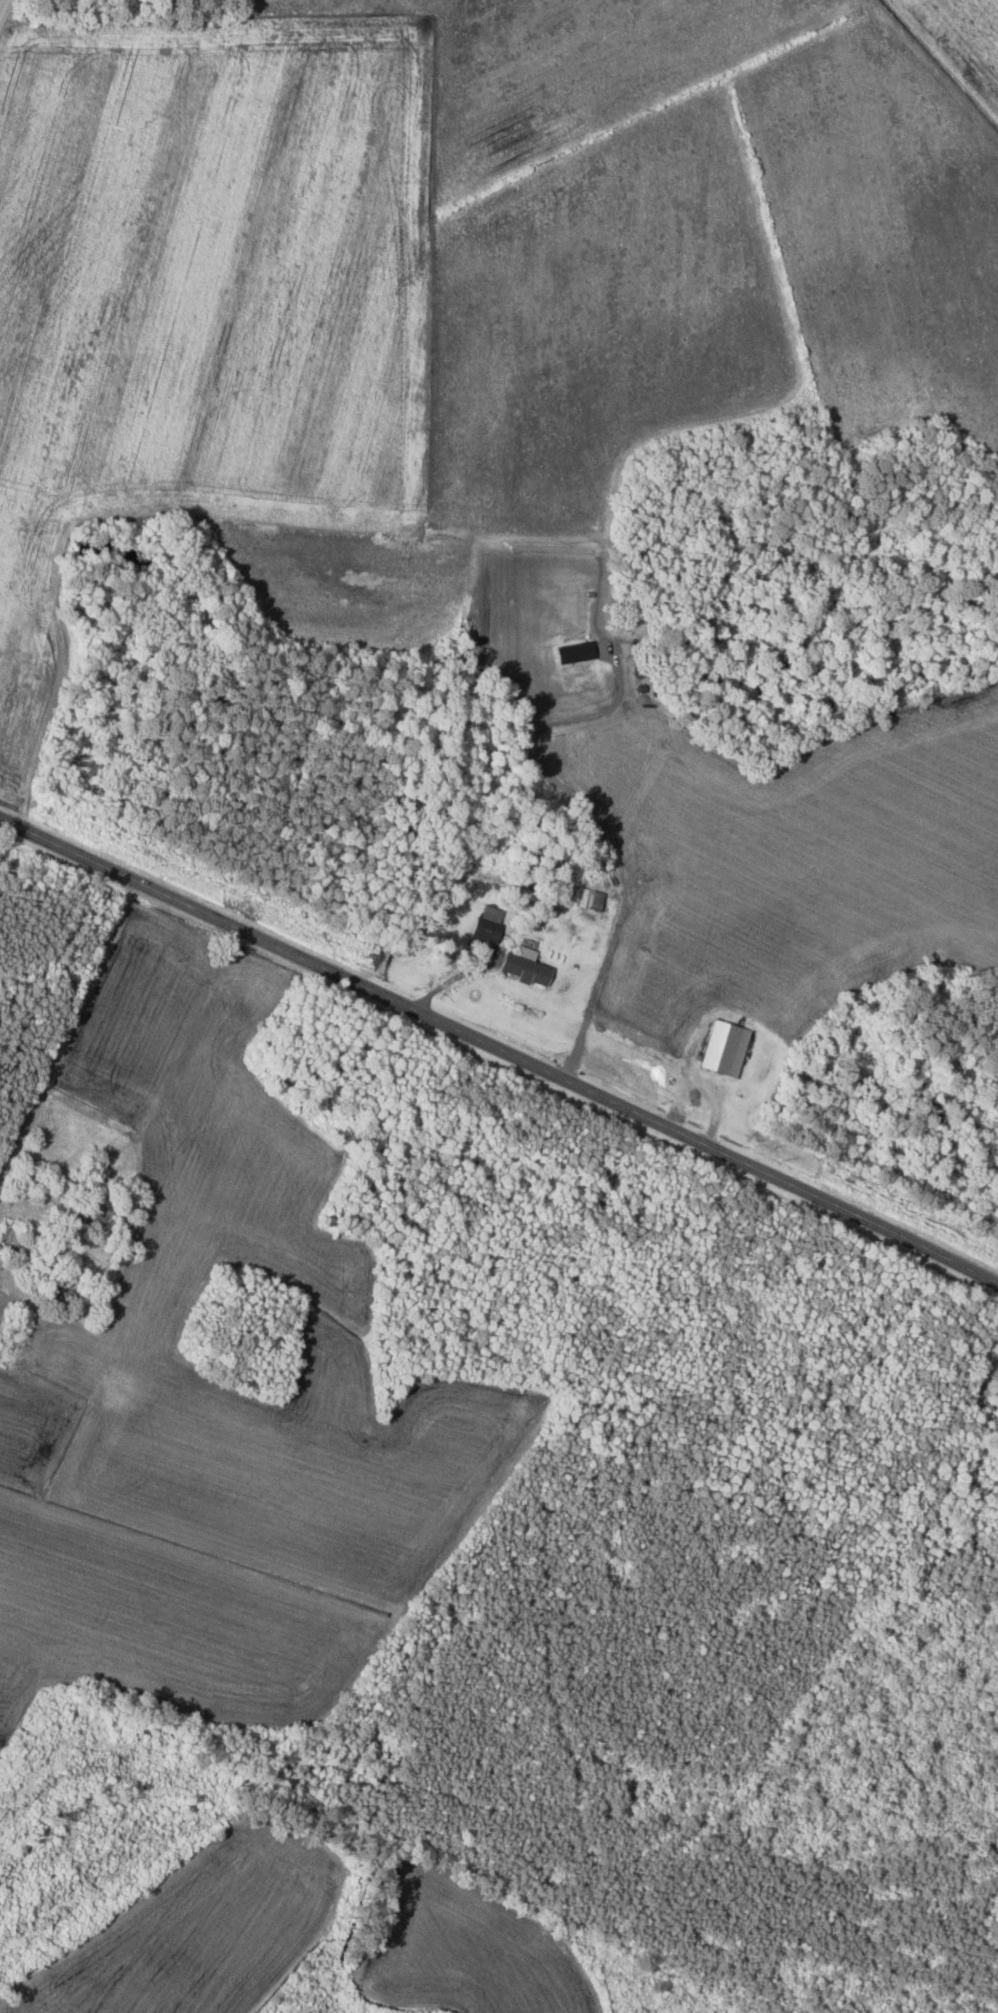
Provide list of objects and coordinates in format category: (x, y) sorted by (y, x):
road: (1, 3)
road: (500, 1047)
road: (131, 1154)

